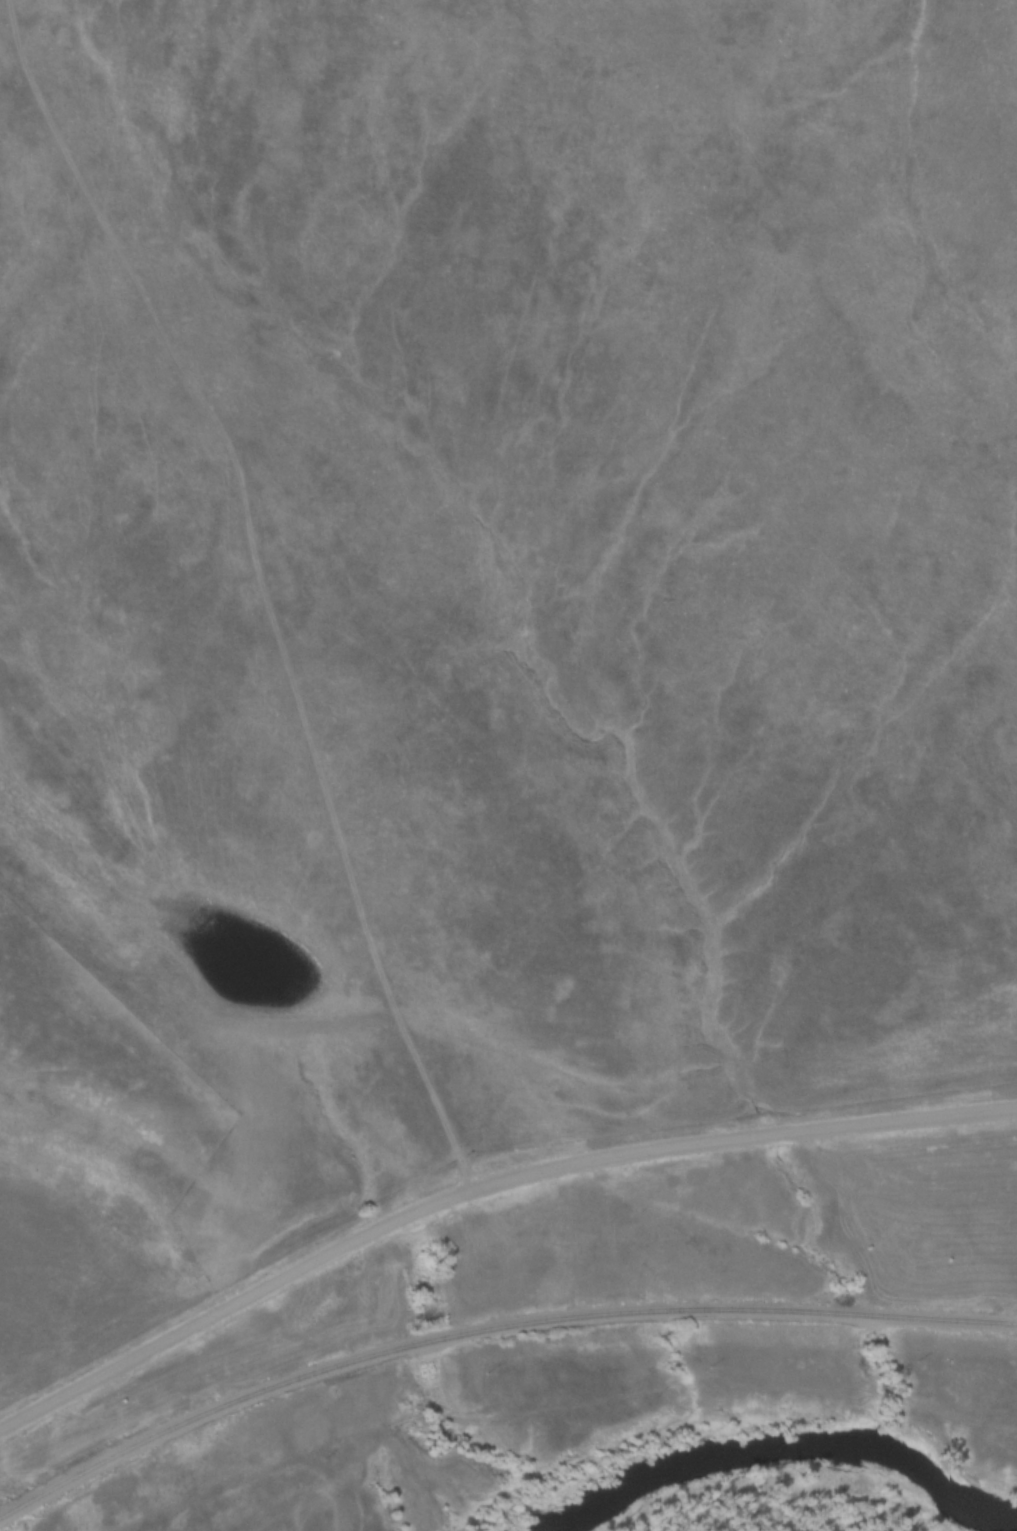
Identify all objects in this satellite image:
road: (482, 1190)
railway: (490, 1329)
river: (793, 1445)

